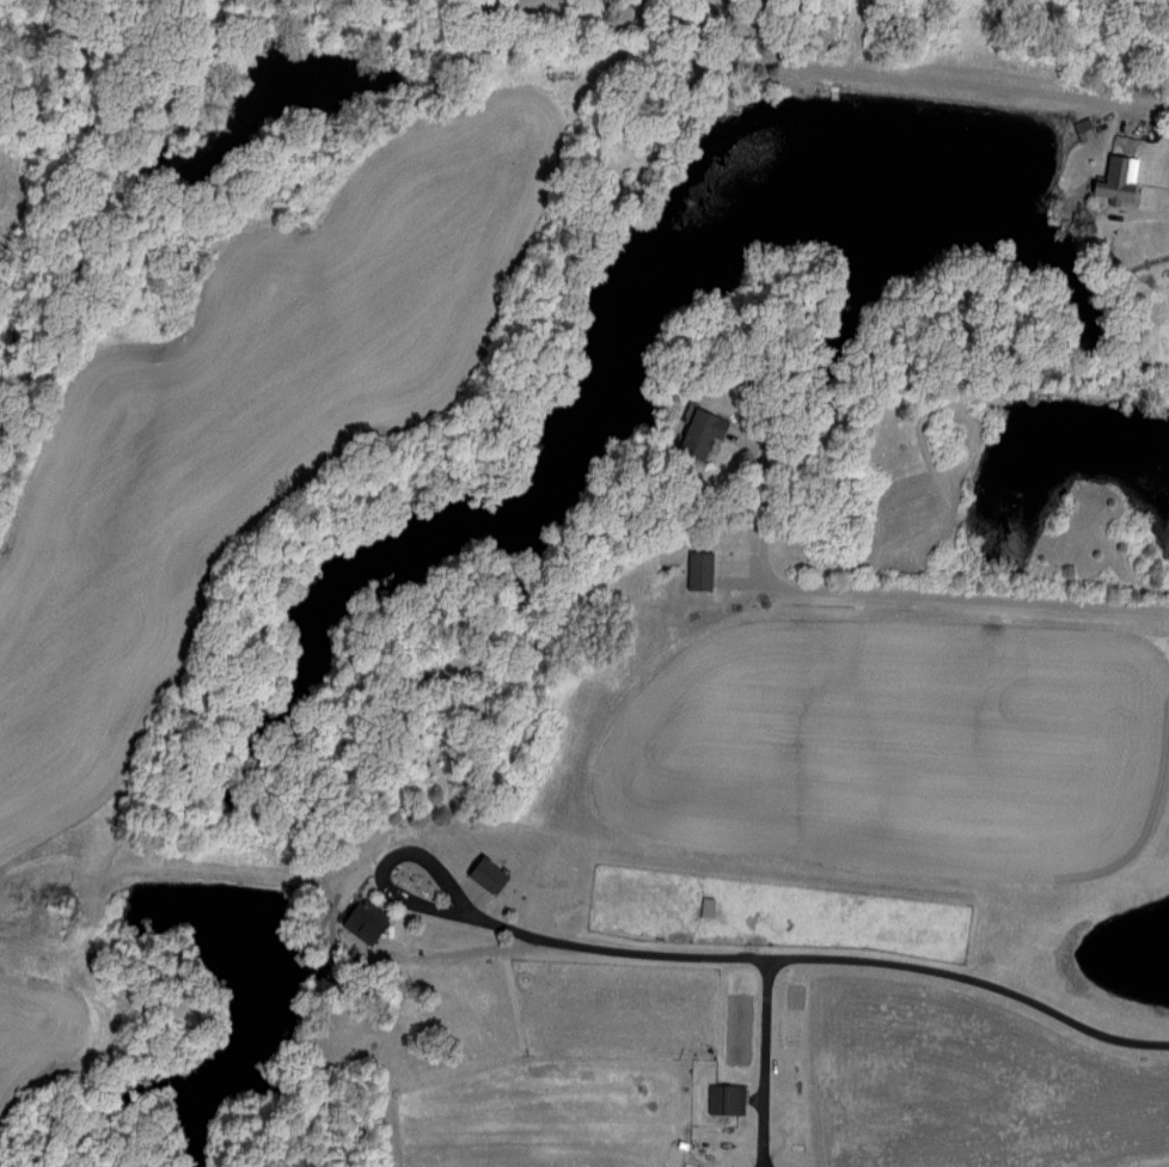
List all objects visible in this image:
road: (944, 93)
building: (1081, 128)
building: (1113, 177)
building: (1168, 362)
building: (698, 432)
building: (696, 569)
road: (904, 594)
road: (387, 859)
building: (481, 873)
building: (360, 921)
road: (827, 958)
road: (766, 1057)
building: (722, 1098)

